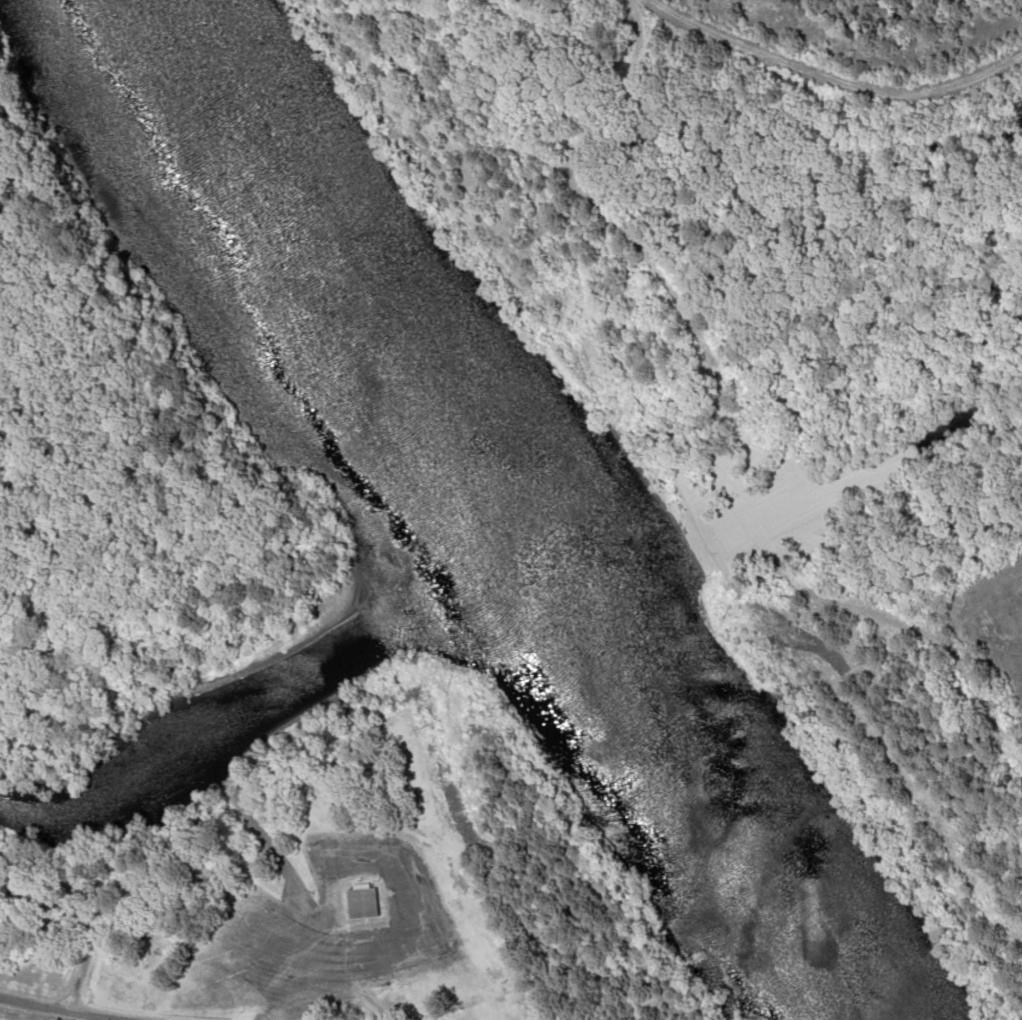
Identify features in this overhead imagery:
building: (360, 901)
road: (393, 961)
road: (364, 995)
road: (297, 999)
road: (67, 1009)

